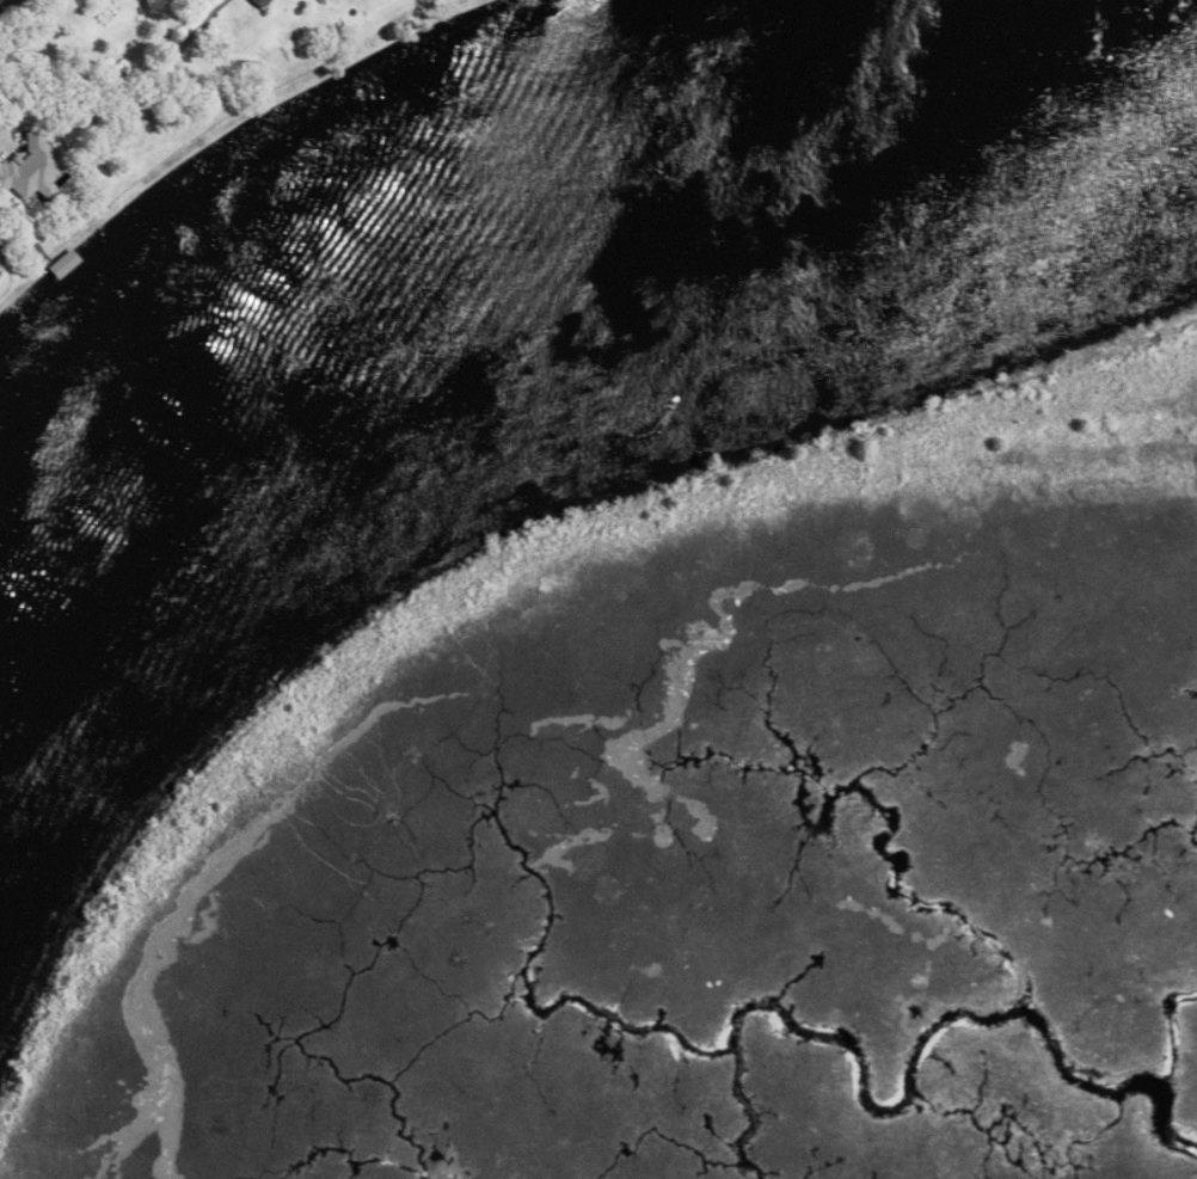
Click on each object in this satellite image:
building: (254, 1)
road: (5, 4)
building: (29, 162)
building: (59, 260)
river: (555, 260)
building: (24, 293)

